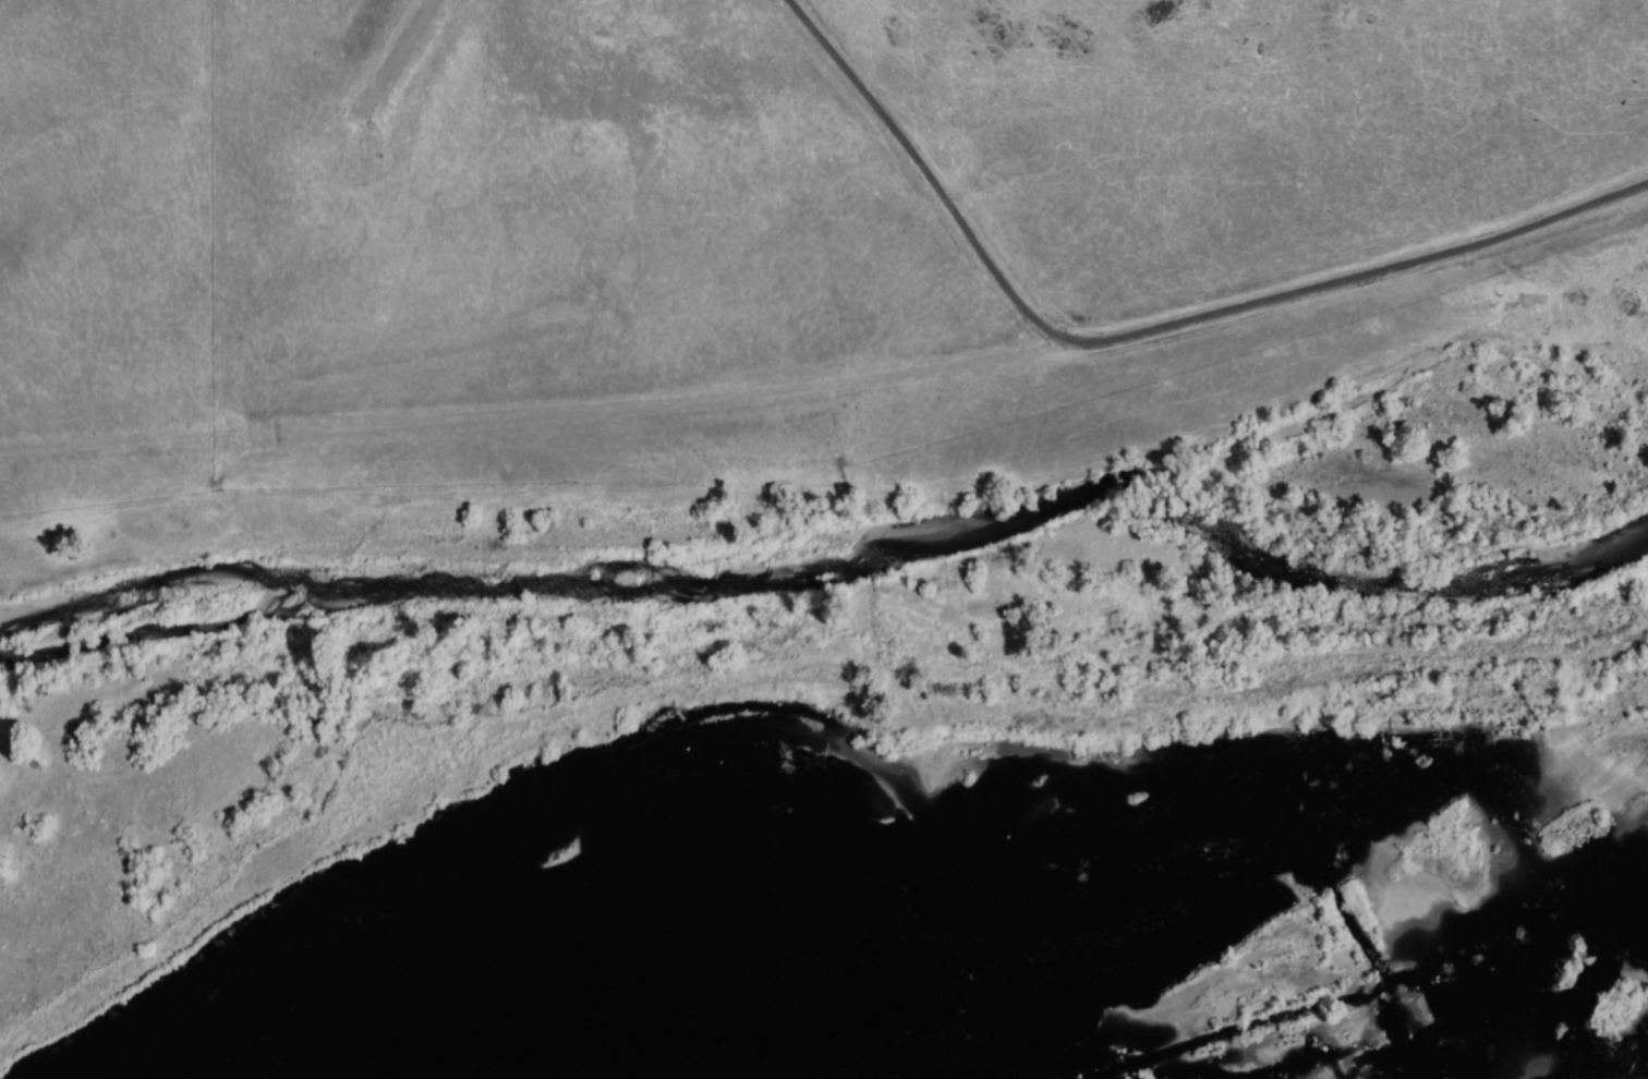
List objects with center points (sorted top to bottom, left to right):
road: (1148, 329)
river: (1236, 543)
river: (642, 573)

